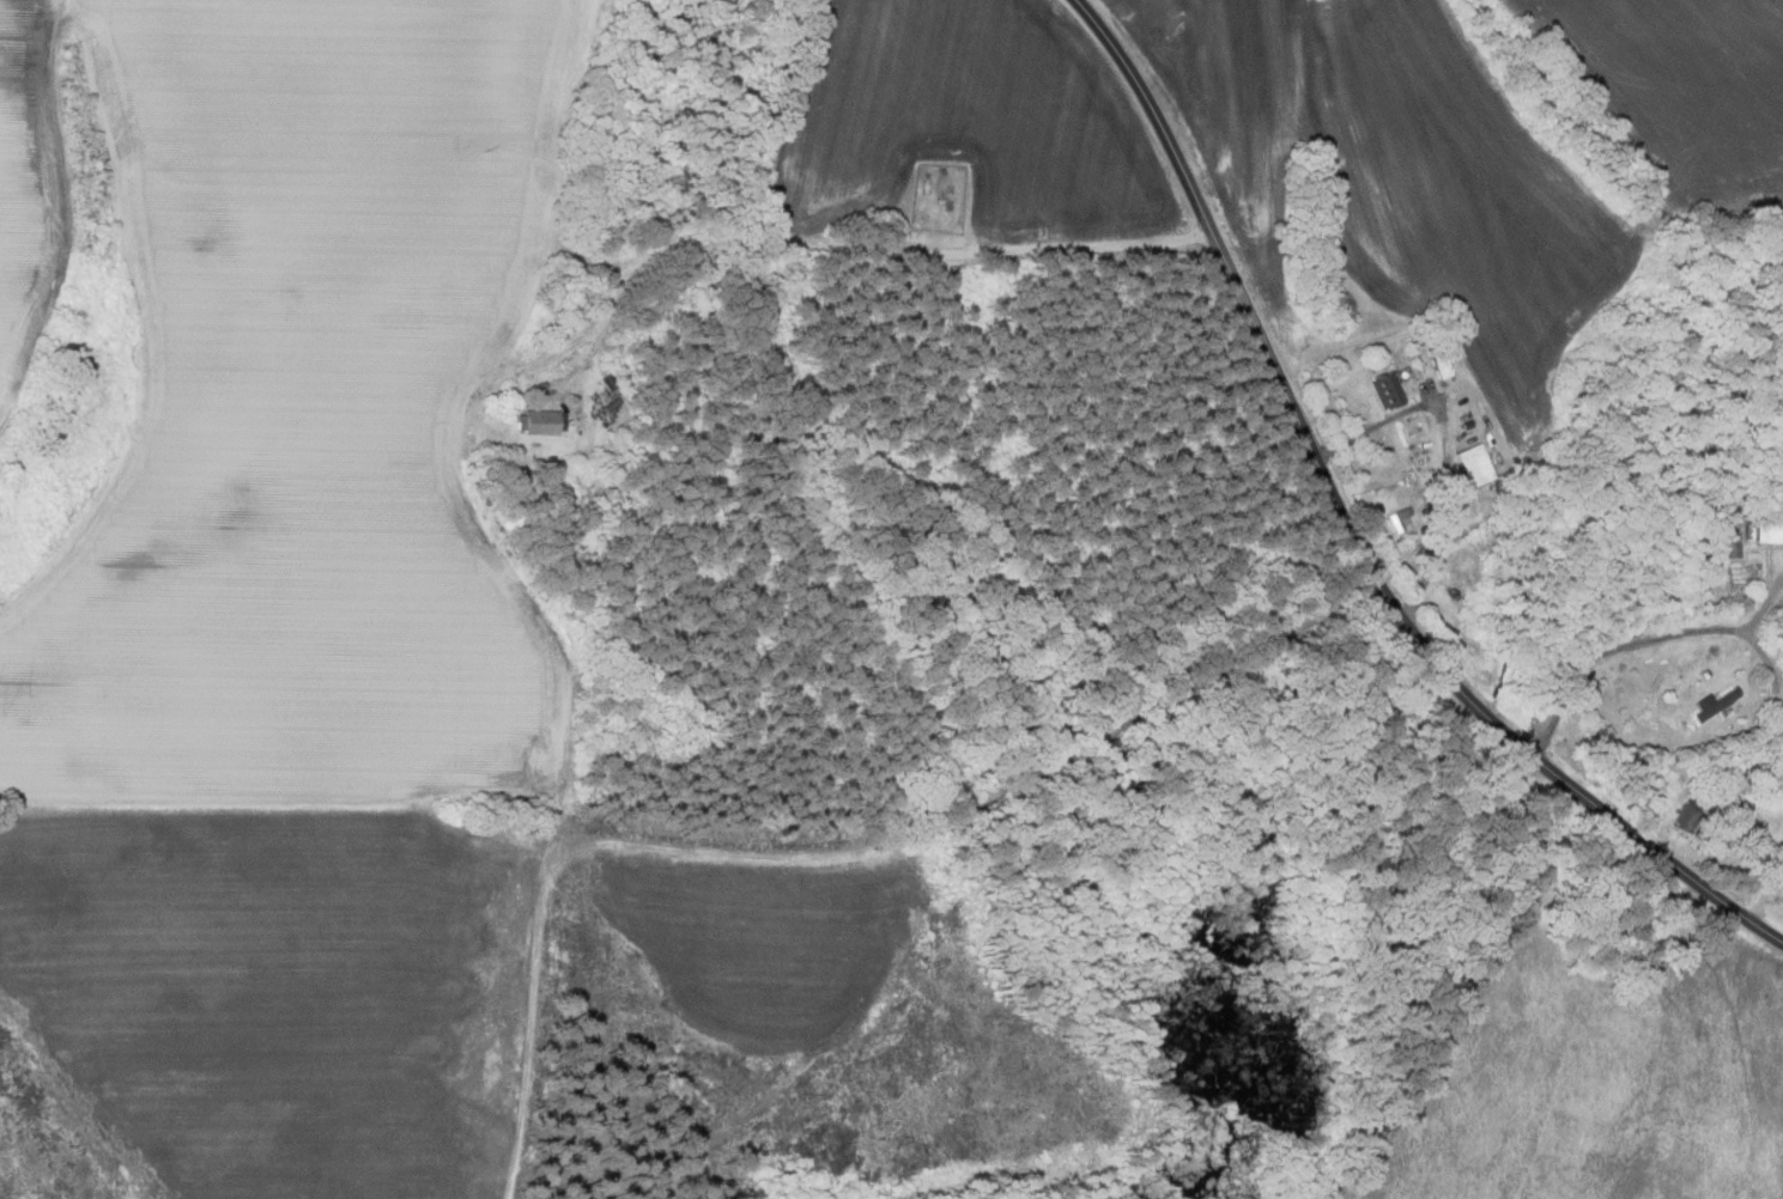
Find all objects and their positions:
road: (844, 244)
building: (1387, 390)
crop: (285, 396)
building: (540, 422)
road: (1448, 454)
building: (1474, 464)
building: (1400, 519)
building: (1767, 532)
road: (1346, 536)
building: (1732, 546)
road: (1632, 643)
building: (1710, 704)

